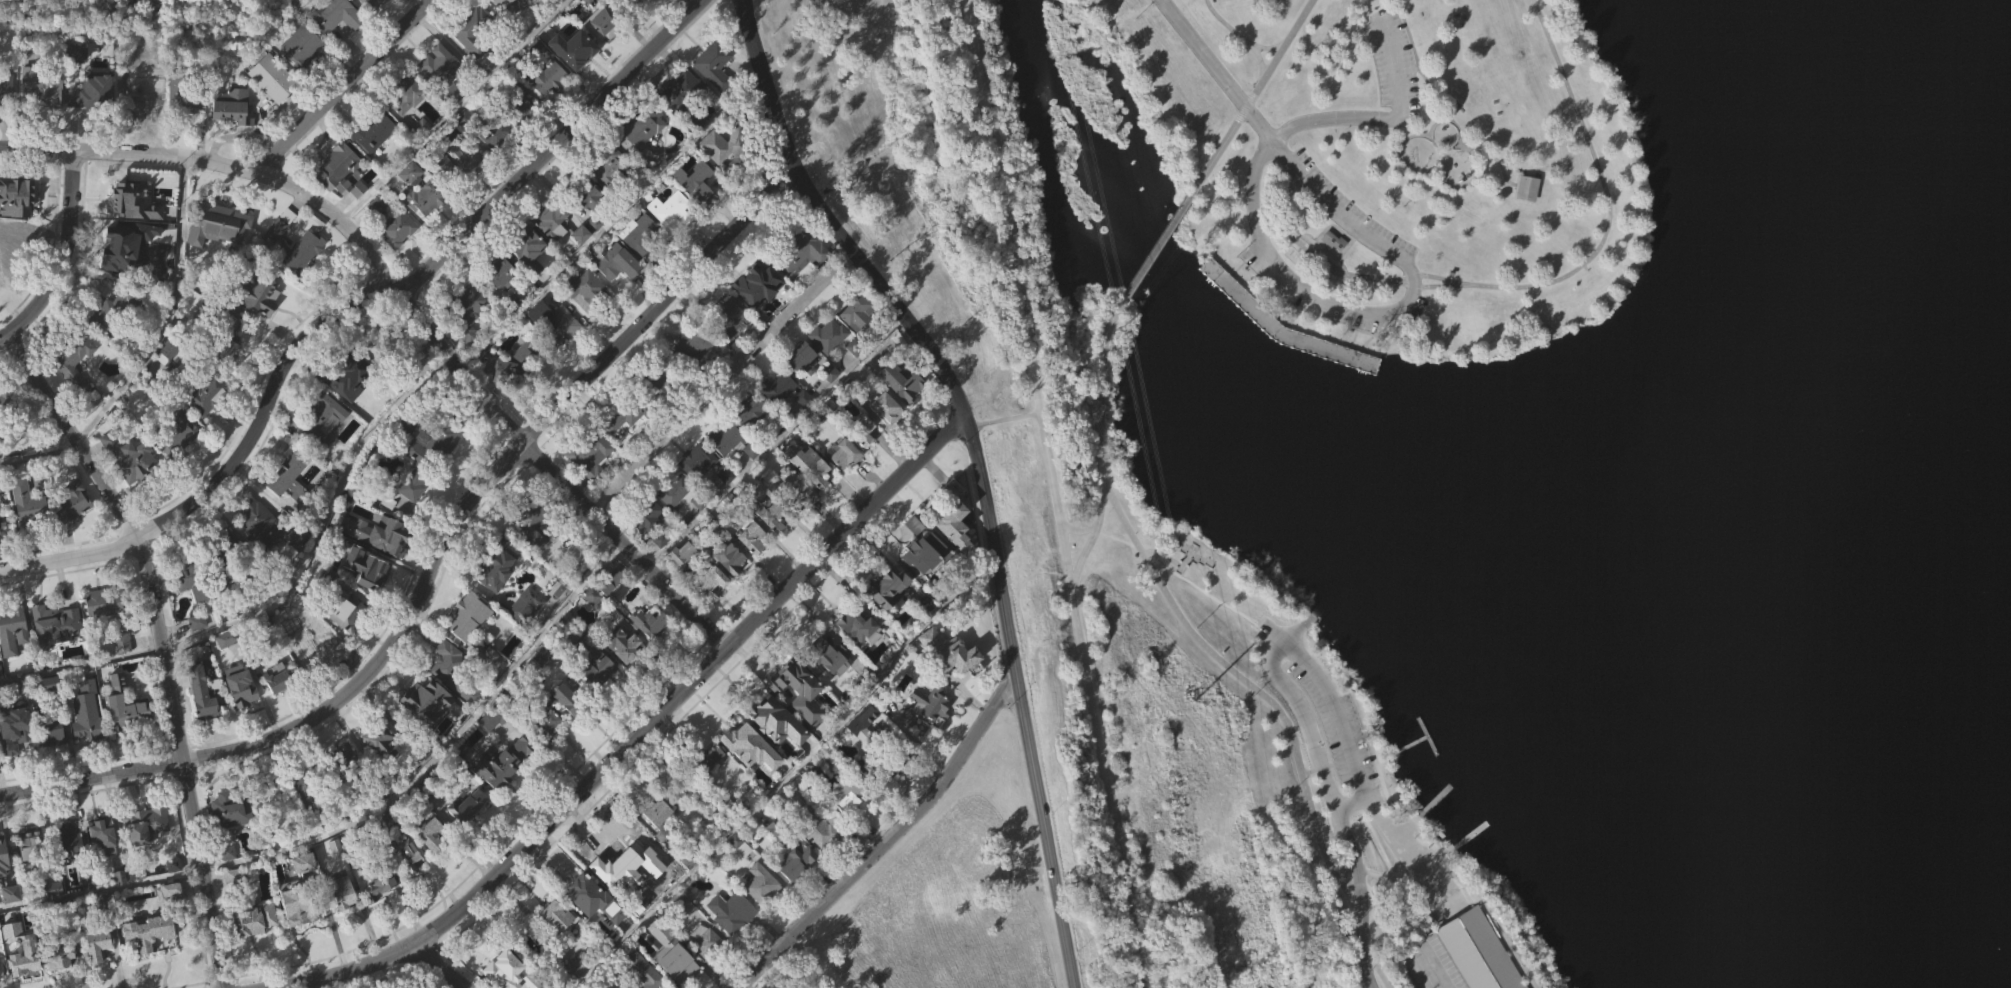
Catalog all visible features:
building: (367, 3)
building: (622, 4)
building: (661, 4)
building: (500, 6)
building: (368, 16)
building: (511, 24)
building: (602, 24)
road: (1226, 26)
building: (319, 27)
building: (469, 29)
building: (335, 41)
road: (1269, 48)
building: (570, 50)
road: (1278, 54)
building: (600, 55)
road: (1201, 55)
building: (472, 59)
building: (712, 63)
road: (1260, 63)
parking lot: (1393, 63)
building: (437, 67)
road: (1419, 71)
building: (301, 75)
building: (544, 77)
building: (268, 78)
building: (574, 78)
building: (87, 84)
road: (341, 87)
building: (38, 89)
building: (5, 90)
building: (146, 90)
building: (181, 93)
building: (407, 93)
building: (440, 94)
building: (713, 95)
building: (682, 99)
building: (229, 106)
building: (273, 107)
building: (549, 107)
road: (449, 111)
building: (6, 118)
building: (40, 118)
road: (1387, 118)
building: (93, 121)
building: (406, 123)
building: (183, 125)
building: (683, 127)
building: (494, 128)
road: (1458, 128)
building: (370, 131)
building: (522, 133)
building: (233, 135)
building: (641, 135)
building: (727, 146)
road: (1220, 149)
road: (129, 153)
building: (464, 157)
building: (375, 160)
building: (495, 161)
building: (641, 164)
building: (436, 165)
building: (338, 171)
building: (406, 174)
building: (721, 175)
building: (695, 181)
building: (10, 188)
building: (1528, 188)
building: (458, 189)
building: (136, 191)
road: (1607, 191)
building: (585, 192)
building: (608, 193)
building: (422, 197)
road: (1223, 198)
building: (340, 201)
road: (1325, 204)
parking lot: (1349, 209)
building: (670, 210)
building: (696, 210)
building: (210, 213)
building: (1529, 217)
building: (549, 221)
road: (612, 223)
building: (592, 225)
building: (424, 227)
building: (395, 228)
building: (376, 234)
building: (643, 237)
building: (667, 238)
building: (10, 241)
building: (1332, 241)
building: (134, 242)
building: (310, 242)
building: (520, 243)
road: (1157, 245)
building: (550, 250)
building: (595, 251)
building: (796, 251)
building: (220, 254)
road: (68, 257)
building: (397, 257)
road: (1323, 261)
building: (581, 263)
building: (614, 264)
building: (1334, 270)
building: (498, 271)
building: (127, 275)
building: (295, 275)
road: (1285, 276)
building: (528, 278)
road: (1438, 278)
building: (799, 282)
building: (2, 283)
building: (757, 285)
road: (1440, 286)
parking lot: (1282, 289)
building: (586, 290)
building: (618, 292)
building: (249, 294)
building: (1239, 297)
building: (499, 301)
road: (351, 305)
building: (466, 311)
building: (110, 313)
building: (204, 313)
building: (758, 313)
building: (856, 313)
building: (584, 315)
building: (723, 317)
building: (553, 318)
building: (256, 325)
building: (514, 330)
power tower: (1113, 331)
building: (827, 336)
building: (466, 339)
building: (113, 340)
building: (858, 341)
building: (693, 345)
building: (729, 346)
road: (151, 350)
building: (223, 350)
building: (386, 350)
building: (555, 350)
building: (801, 361)
building: (72, 363)
building: (828, 365)
building: (510, 366)
building: (228, 374)
building: (351, 374)
building: (693, 375)
building: (662, 378)
building: (900, 381)
road: (726, 384)
building: (802, 387)
building: (774, 388)
road: (1101, 390)
building: (514, 392)
building: (75, 393)
building: (204, 393)
building: (829, 401)
building: (4, 403)
road: (493, 406)
building: (883, 408)
building: (746, 409)
building: (653, 410)
building: (903, 411)
building: (621, 416)
building: (777, 416)
building: (321, 421)
building: (208, 423)
building: (5, 426)
building: (803, 427)
building: (859, 431)
building: (173, 435)
building: (885, 436)
building: (440, 438)
building: (722, 439)
building: (750, 439)
road: (774, 439)
building: (368, 440)
building: (623, 446)
building: (322, 451)
building: (840, 454)
building: (587, 455)
building: (128, 458)
building: (181, 459)
building: (862, 459)
building: (696, 460)
building: (420, 465)
building: (806, 465)
road: (981, 465)
building: (725, 467)
road: (1010, 474)
building: (434, 475)
building: (287, 477)
building: (750, 479)
building: (411, 482)
building: (590, 483)
building: (844, 483)
park: (1453, 484)
building: (131, 487)
building: (697, 488)
building: (671, 490)
road: (1053, 494)
building: (799, 498)
building: (71, 502)
building: (26, 503)
building: (0, 507)
building: (290, 507)
building: (645, 515)
building: (411, 516)
building: (770, 517)
building: (800, 518)
building: (671, 520)
building: (534, 521)
building: (2, 522)
building: (266, 527)
building: (385, 528)
building: (952, 529)
building: (73, 531)
building: (699, 531)
building: (29, 534)
building: (766, 536)
road: (1095, 536)
building: (748, 538)
building: (647, 544)
building: (2, 547)
building: (218, 548)
building: (921, 550)
building: (261, 553)
building: (678, 554)
road: (1163, 554)
building: (954, 555)
road: (434, 557)
building: (534, 560)
building: (726, 560)
building: (496, 563)
building: (660, 566)
building: (753, 566)
building: (362, 567)
building: (187, 577)
building: (924, 578)
building: (681, 582)
building: (707, 584)
building: (730, 586)
building: (883, 587)
building: (497, 593)
building: (602, 593)
road: (1017, 594)
road: (1204, 595)
building: (366, 596)
road: (284, 600)
building: (104, 601)
building: (325, 603)
building: (524, 605)
building: (191, 608)
building: (710, 609)
building: (611, 610)
building: (346, 612)
building: (887, 616)
building: (467, 617)
building: (649, 622)
building: (592, 625)
building: (860, 628)
building: (11, 630)
building: (104, 631)
building: (527, 631)
building: (50, 633)
building: (347, 638)
road: (162, 642)
building: (468, 645)
building: (616, 645)
building: (198, 650)
building: (945, 650)
building: (481, 652)
building: (57, 653)
building: (655, 653)
building: (307, 654)
building: (858, 655)
building: (825, 656)
building: (13, 659)
building: (589, 663)
building: (227, 667)
building: (123, 671)
building: (454, 671)
building: (618, 671)
building: (274, 680)
building: (948, 680)
building: (830, 685)
building: (235, 687)
building: (548, 688)
building: (447, 689)
building: (593, 689)
building: (791, 690)
building: (196, 691)
building: (418, 693)
power tower: (1193, 694)
building: (110, 697)
building: (1, 700)
building: (280, 706)
building: (926, 710)
building: (51, 711)
building: (85, 711)
road: (1338, 712)
building: (240, 713)
road: (1279, 714)
building: (495, 718)
building: (799, 720)
building: (203, 721)
building: (773, 721)
building: (545, 722)
building: (564, 724)
building: (851, 725)
building: (11, 726)
building: (426, 729)
road: (643, 731)
building: (48, 732)
road: (1312, 734)
parking lot: (1343, 734)
building: (127, 735)
building: (926, 735)
pier: (1427, 737)
building: (376, 738)
building: (87, 741)
building: (493, 745)
pier: (1408, 746)
building: (776, 749)
building: (549, 751)
building: (14, 755)
building: (858, 756)
building: (703, 757)
building: (501, 759)
road: (1350, 759)
building: (341, 761)
building: (52, 762)
building: (380, 767)
building: (879, 767)
road: (787, 774)
building: (749, 775)
building: (345, 782)
building: (709, 785)
building: (427, 786)
building: (306, 789)
building: (501, 792)
building: (843, 794)
pier: (1438, 796)
building: (821, 805)
building: (463, 806)
building: (226, 808)
road: (365, 814)
building: (656, 815)
building: (845, 822)
building: (143, 825)
building: (821, 831)
building: (98, 834)
building: (359, 834)
building: (467, 834)
building: (428, 835)
pier: (1468, 836)
building: (660, 837)
building: (231, 838)
road: (891, 839)
building: (65, 841)
building: (26, 844)
building: (788, 850)
building: (146, 852)
building: (403, 854)
building: (1, 856)
building: (103, 860)
building: (434, 861)
building: (70, 866)
building: (606, 866)
building: (0, 869)
building: (30, 871)
building: (740, 872)
road: (1378, 874)
building: (336, 875)
building: (375, 878)
building: (110, 879)
building: (235, 879)
building: (412, 883)
building: (760, 886)
building: (796, 889)
building: (168, 890)
building: (339, 891)
building: (611, 896)
building: (589, 898)
building: (638, 903)
building: (102, 904)
building: (235, 904)
building: (294, 908)
building: (728, 911)
building: (382, 912)
building: (762, 912)
building: (552, 916)
building: (173, 918)
road: (1378, 918)
building: (250, 919)
building: (343, 919)
building: (11, 921)
building: (585, 922)
building: (648, 922)
road: (1367, 928)
building: (143, 931)
building: (301, 939)
building: (731, 939)
building: (613, 940)
building: (705, 942)
building: (93, 944)
building: (556, 944)
building: (255, 947)
building: (21, 950)
building: (1476, 952)
building: (55, 956)
building: (150, 959)
parking lot: (1431, 964)
road: (436, 966)
building: (679, 967)
building: (705, 968)
building: (21, 969)
road: (1433, 969)
building: (502, 970)
building: (572, 970)
building: (99, 971)
building: (638, 972)
building: (669, 974)
building: (61, 981)

